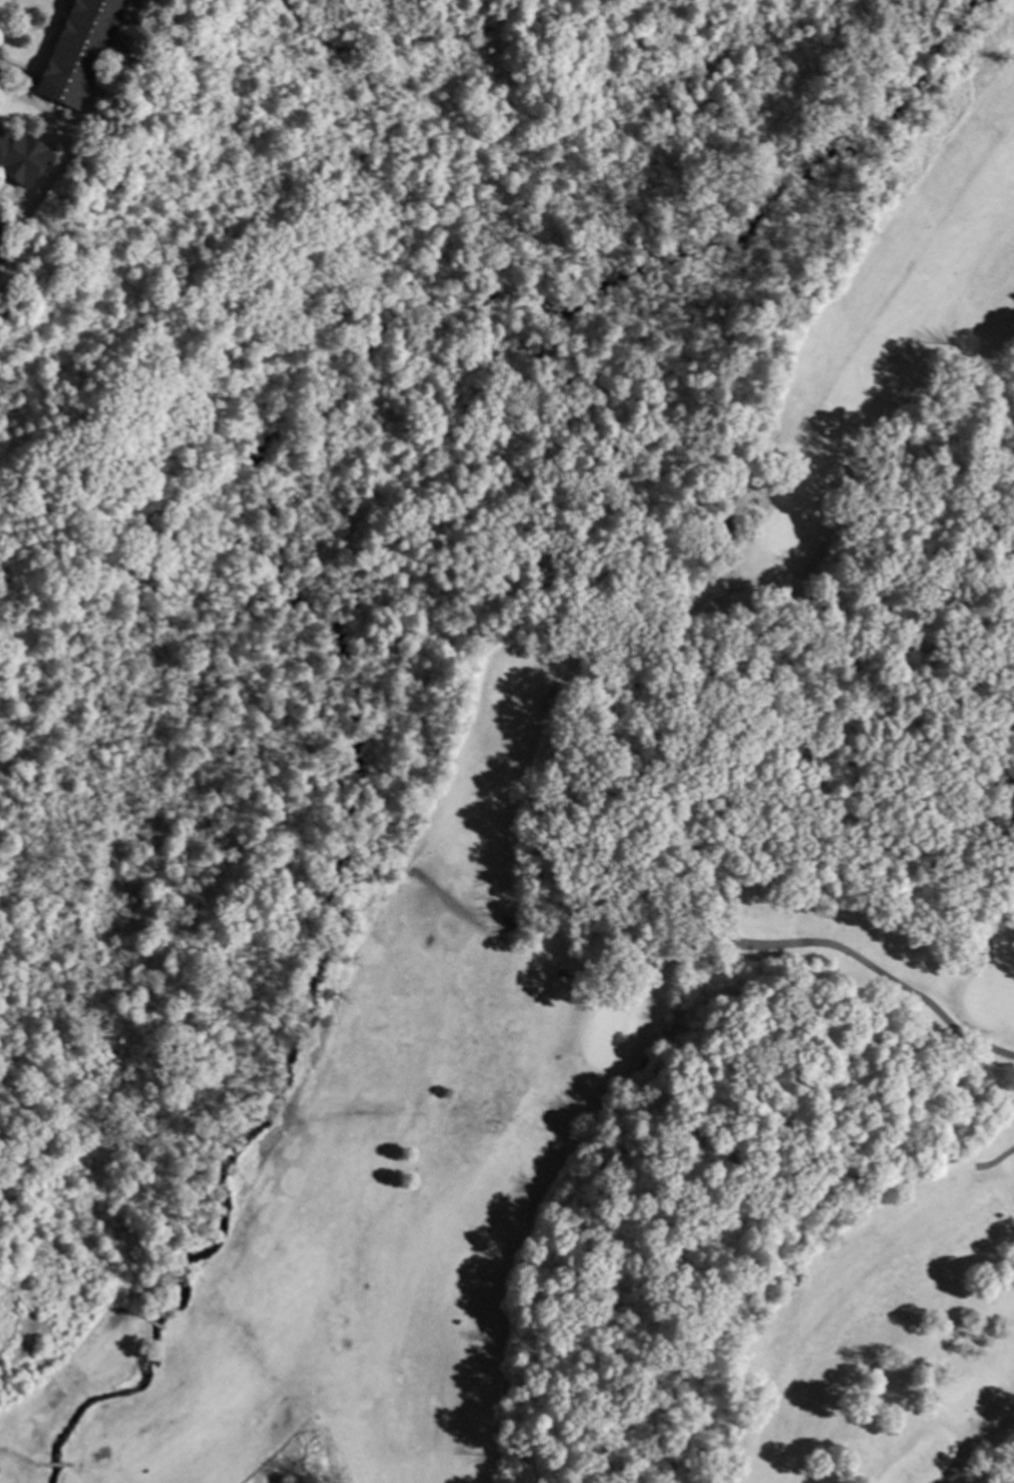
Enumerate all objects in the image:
road: (602, 22)
building: (77, 50)
road: (12, 69)
building: (20, 157)
building: (1, 232)
road: (240, 482)
road: (736, 500)
road: (629, 643)
park: (513, 750)
road: (406, 863)
road: (797, 946)
park: (663, 965)
road: (995, 1161)
road: (149, 1323)
road: (17, 1458)
road: (38, 1465)
road: (52, 1465)
road: (65, 1466)
road: (949, 1467)

